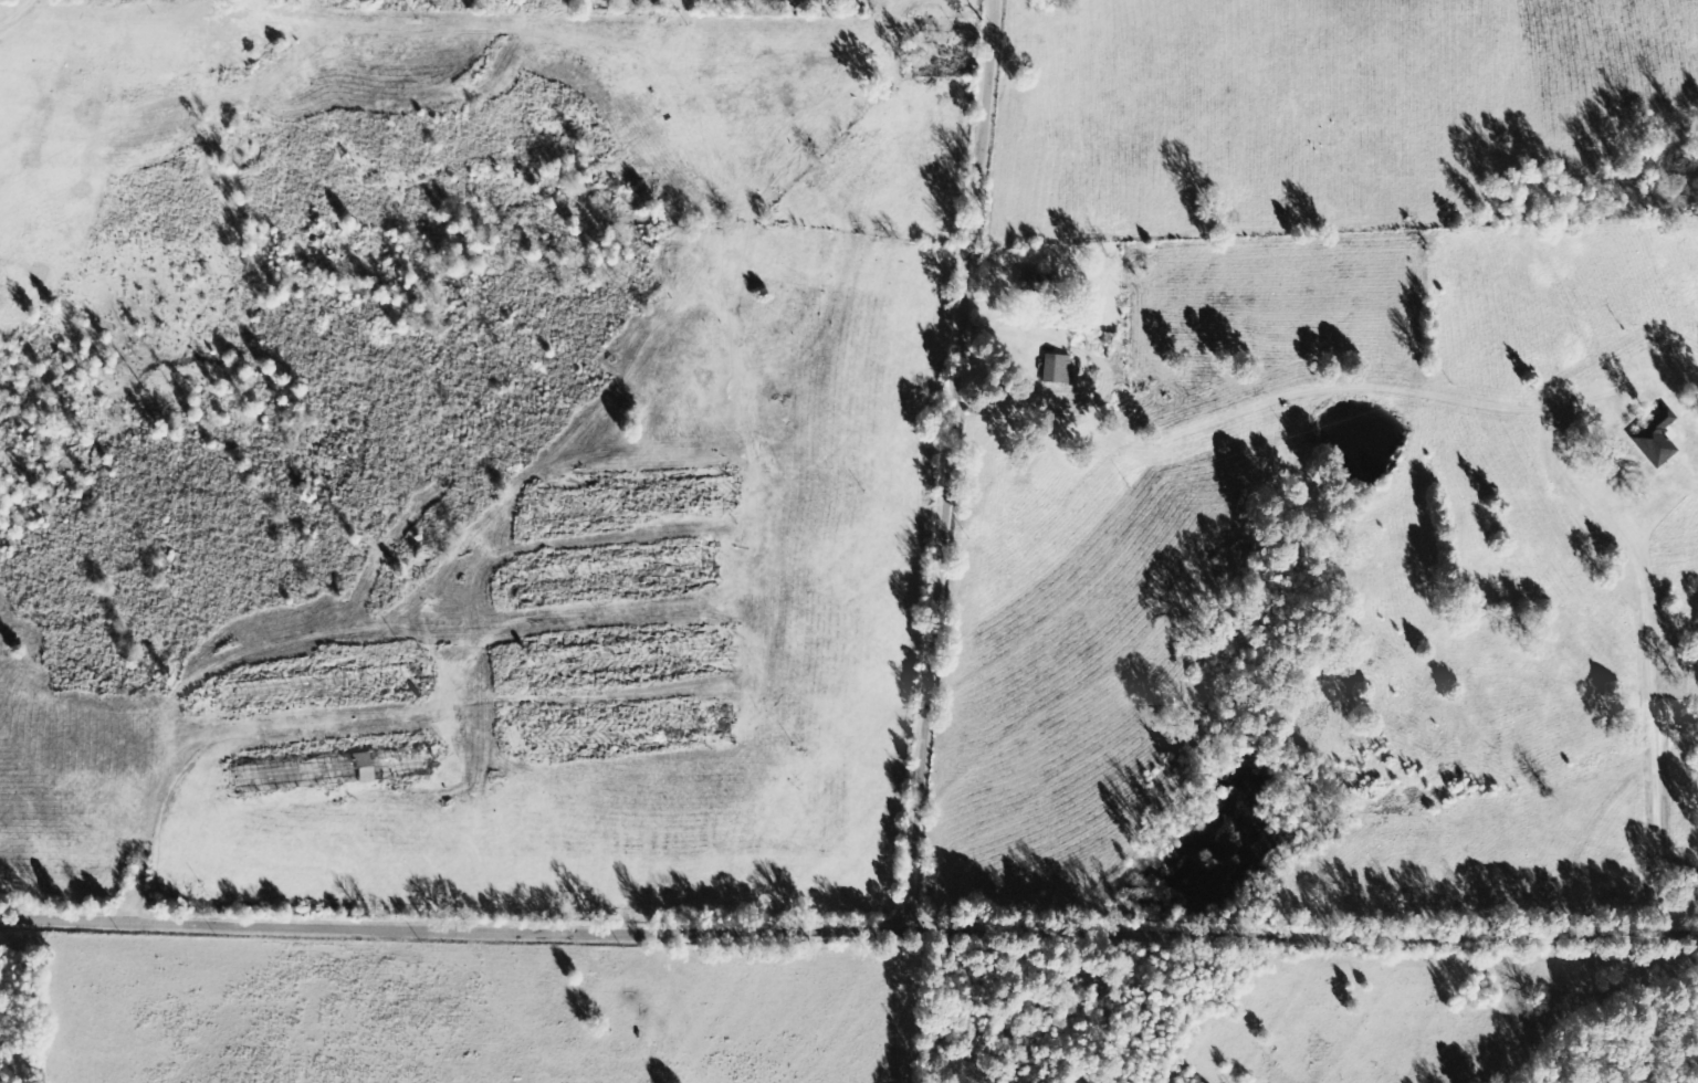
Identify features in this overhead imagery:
road: (972, 480)
road: (848, 958)

